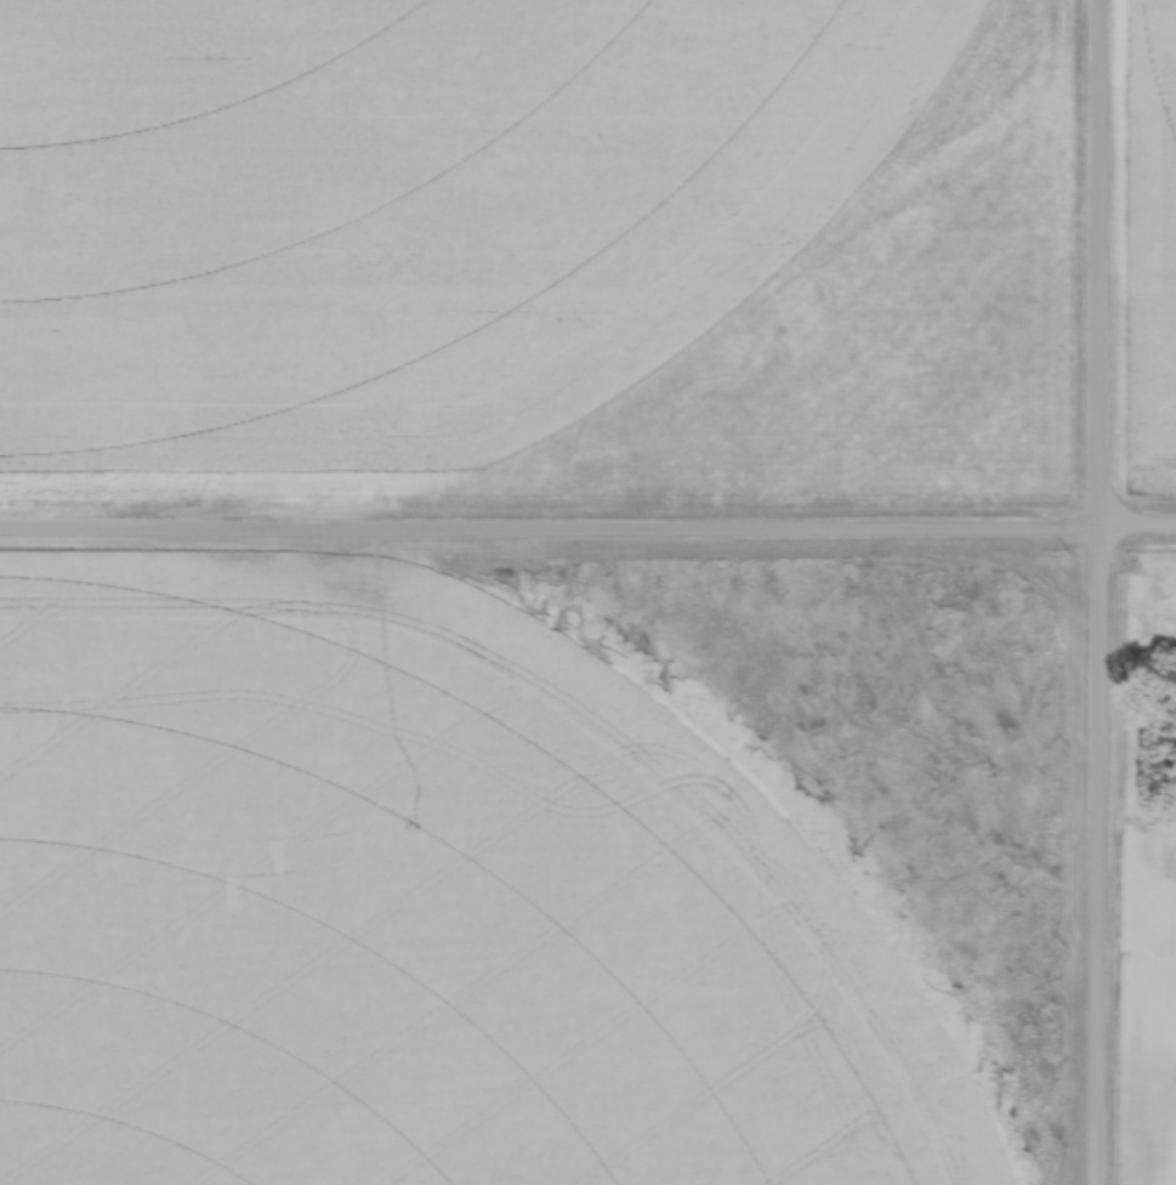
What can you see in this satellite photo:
road: (587, 535)
road: (1097, 592)

